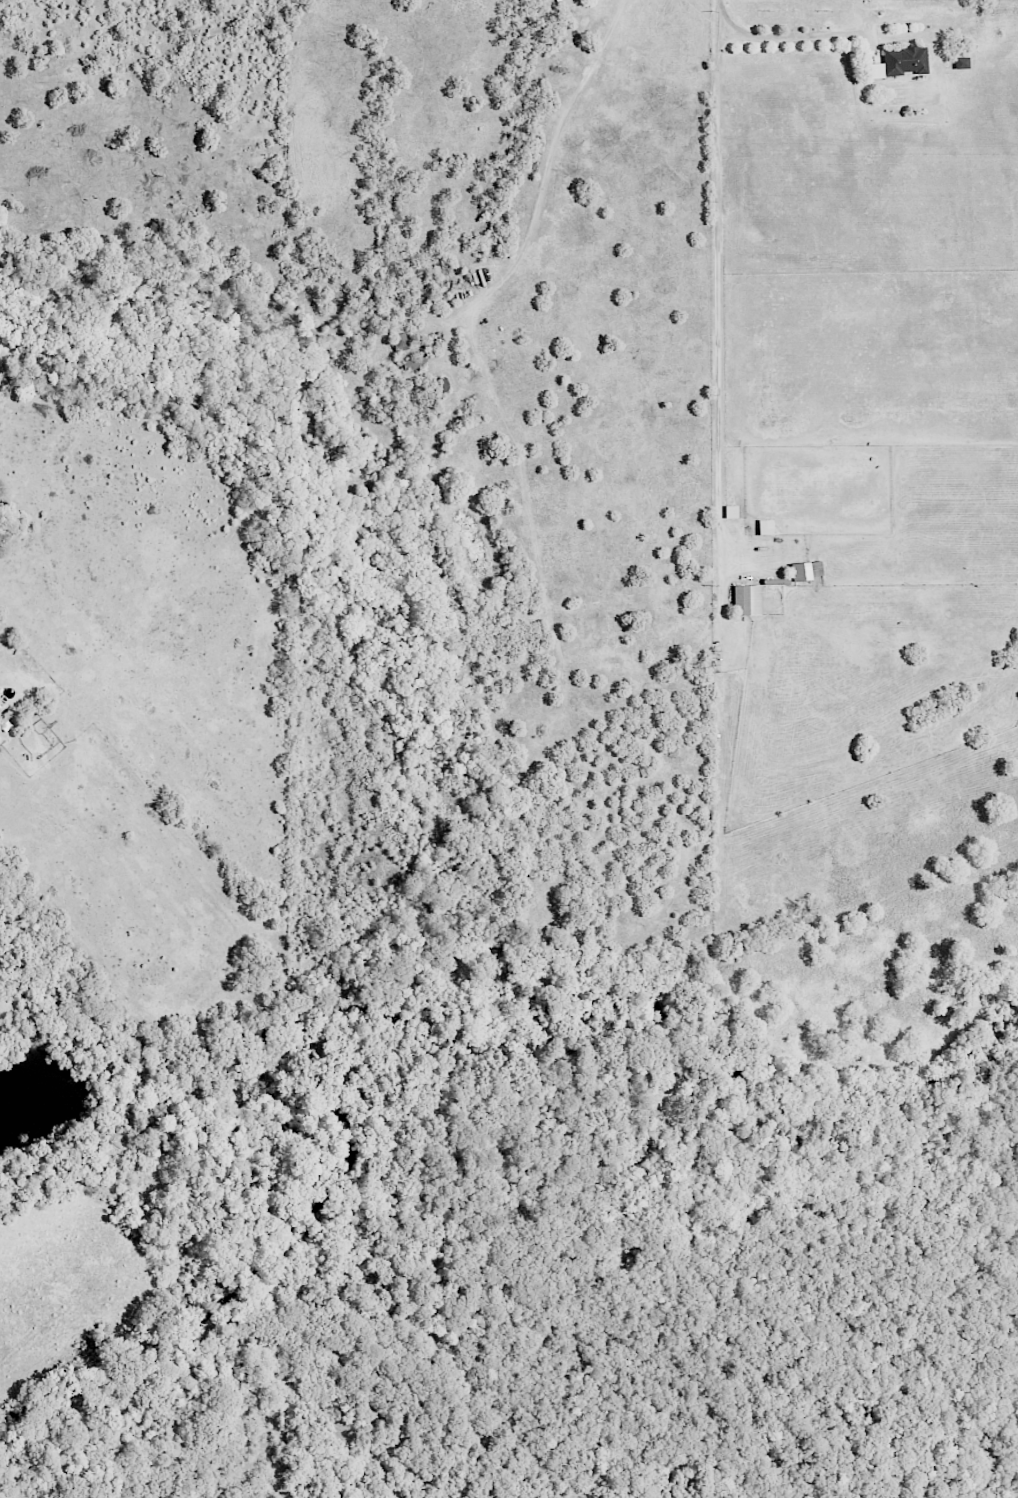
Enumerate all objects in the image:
road: (785, 38)
building: (901, 62)
building: (963, 62)
road: (716, 290)
building: (401, 342)
building: (416, 363)
building: (747, 600)

